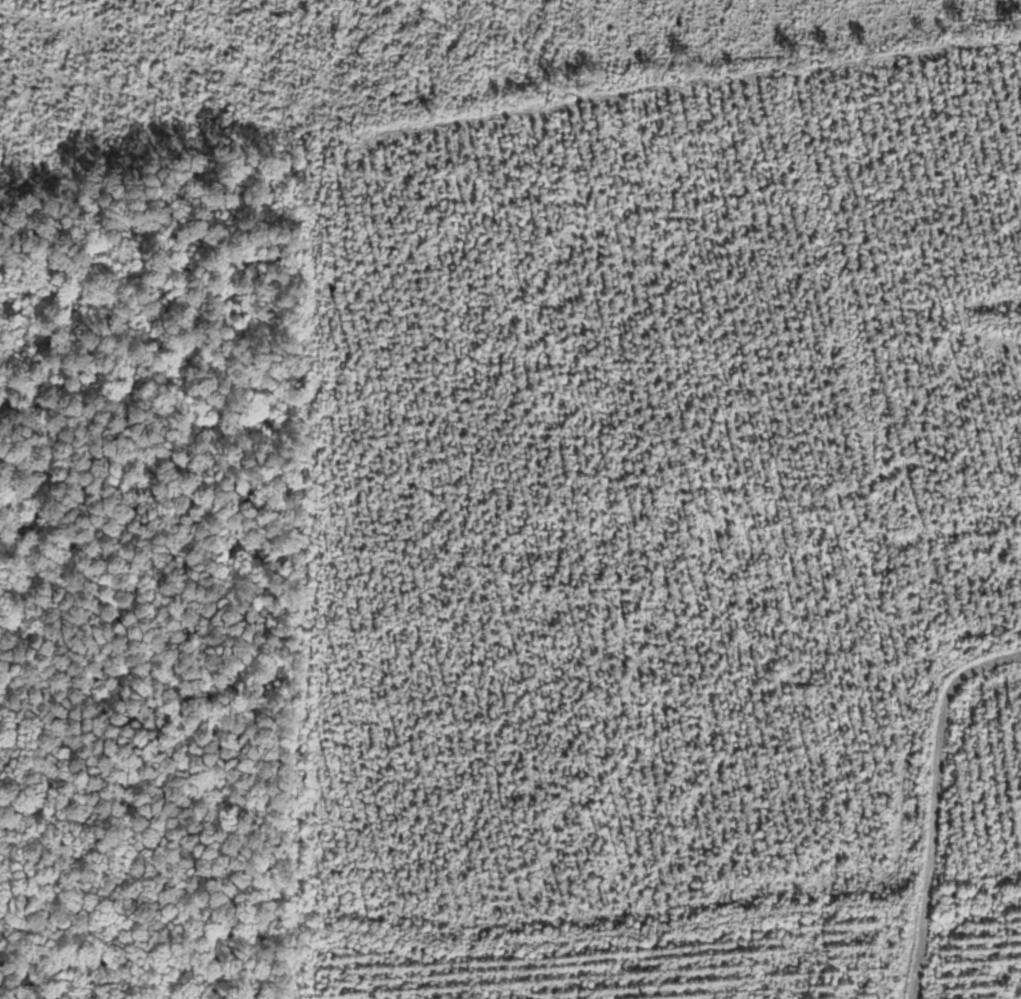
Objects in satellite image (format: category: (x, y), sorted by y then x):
road: (907, 771)

